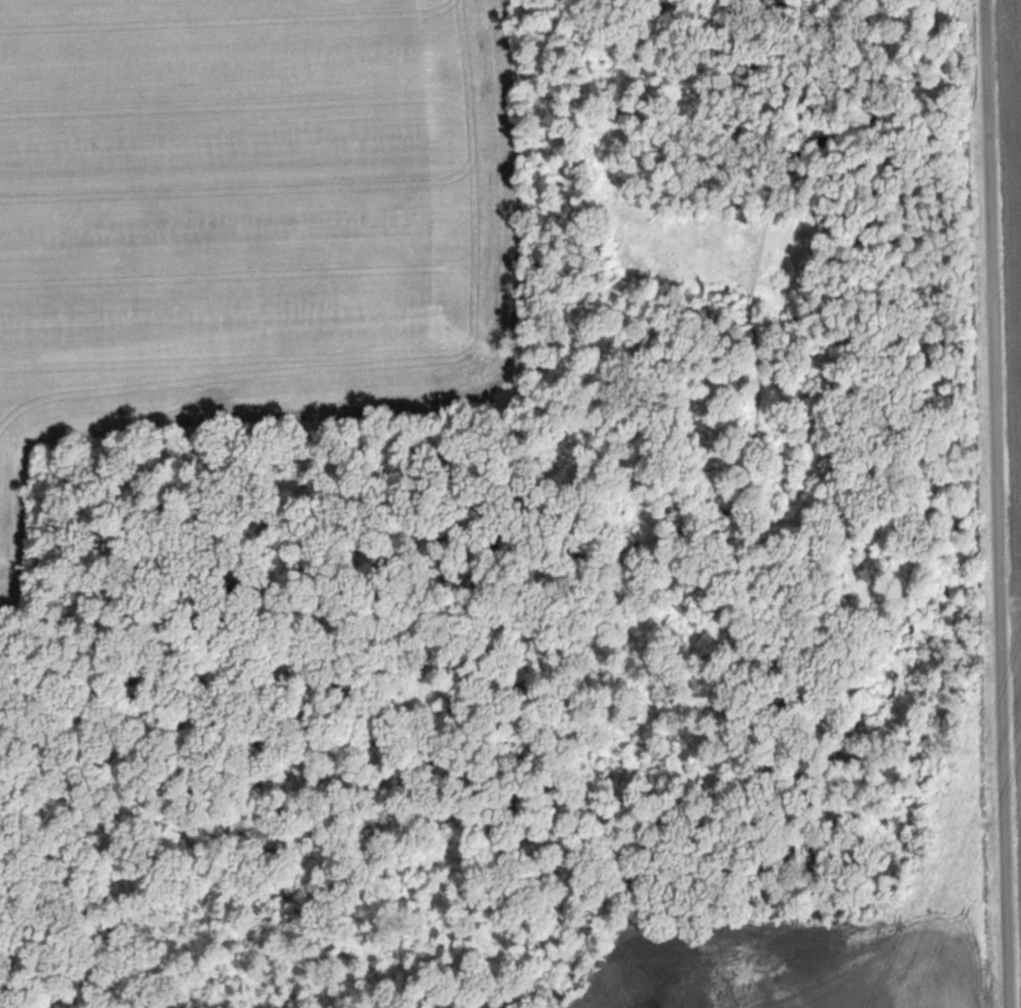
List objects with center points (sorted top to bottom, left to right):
road: (992, 504)

